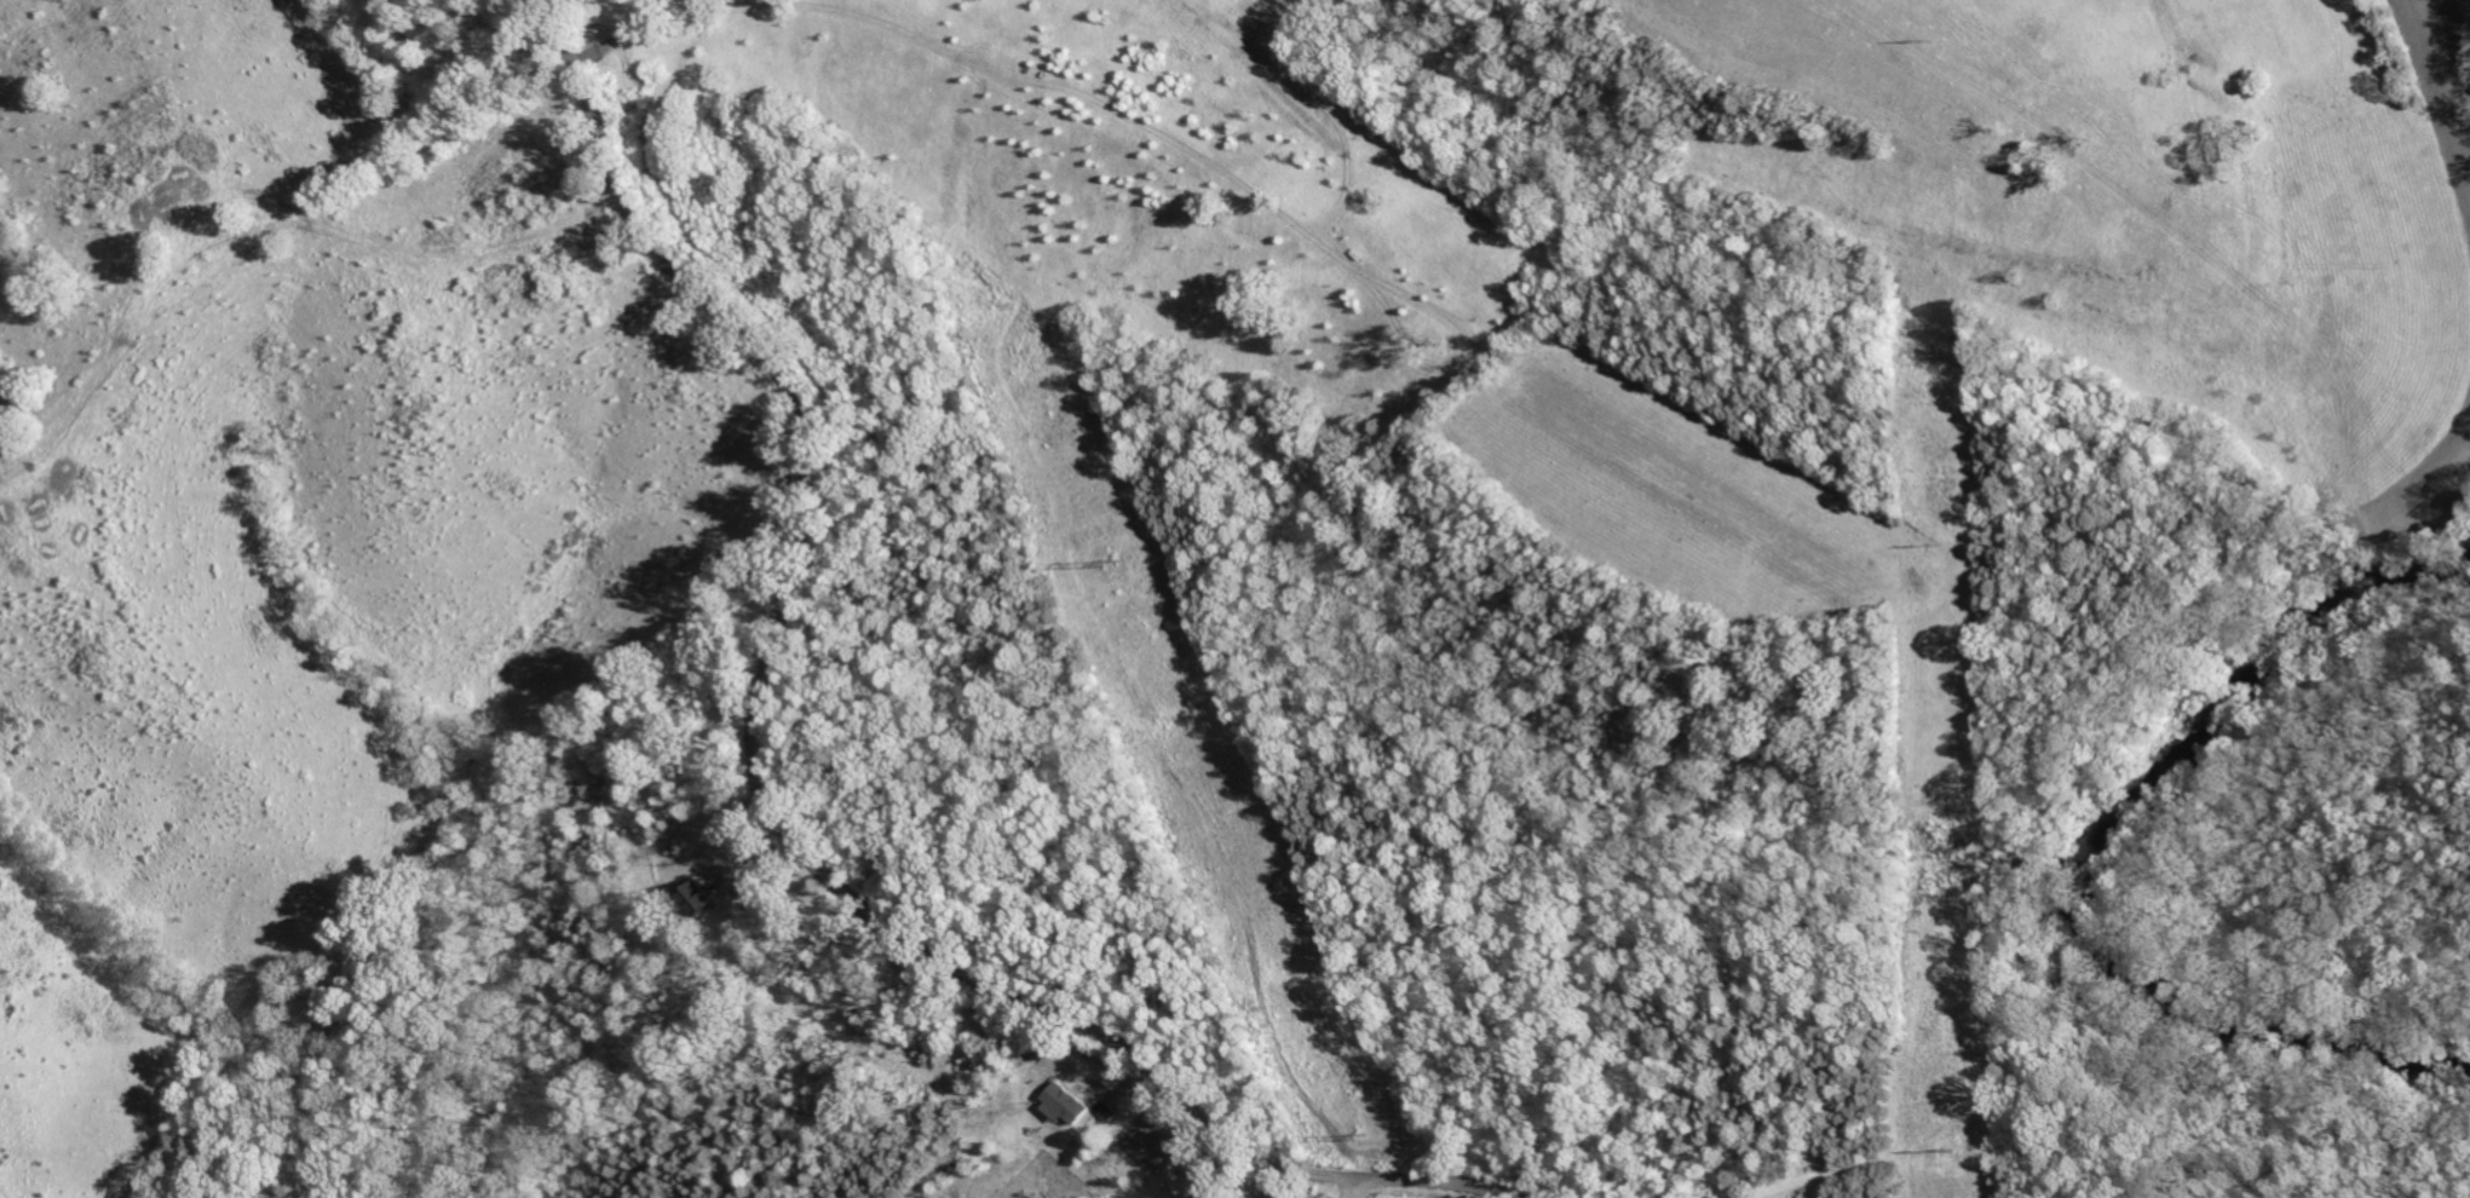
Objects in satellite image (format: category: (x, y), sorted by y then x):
road: (765, 795)
building: (708, 898)
building: (1069, 1105)
building: (1174, 1187)
road: (1361, 1188)

